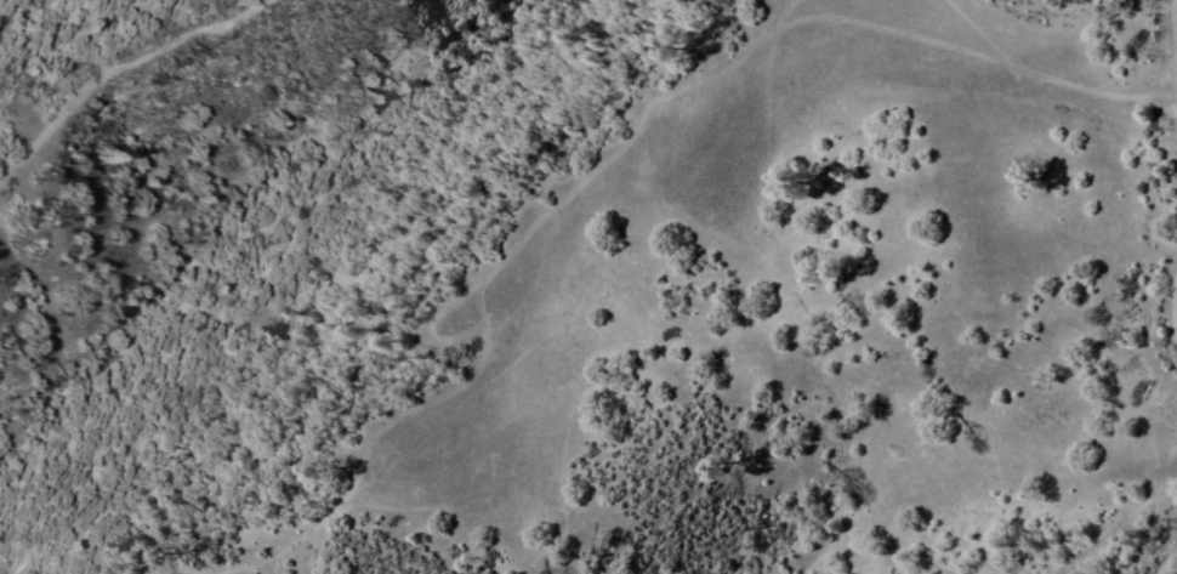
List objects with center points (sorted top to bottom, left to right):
road: (1167, 39)
road: (1175, 297)
road: (1164, 559)

